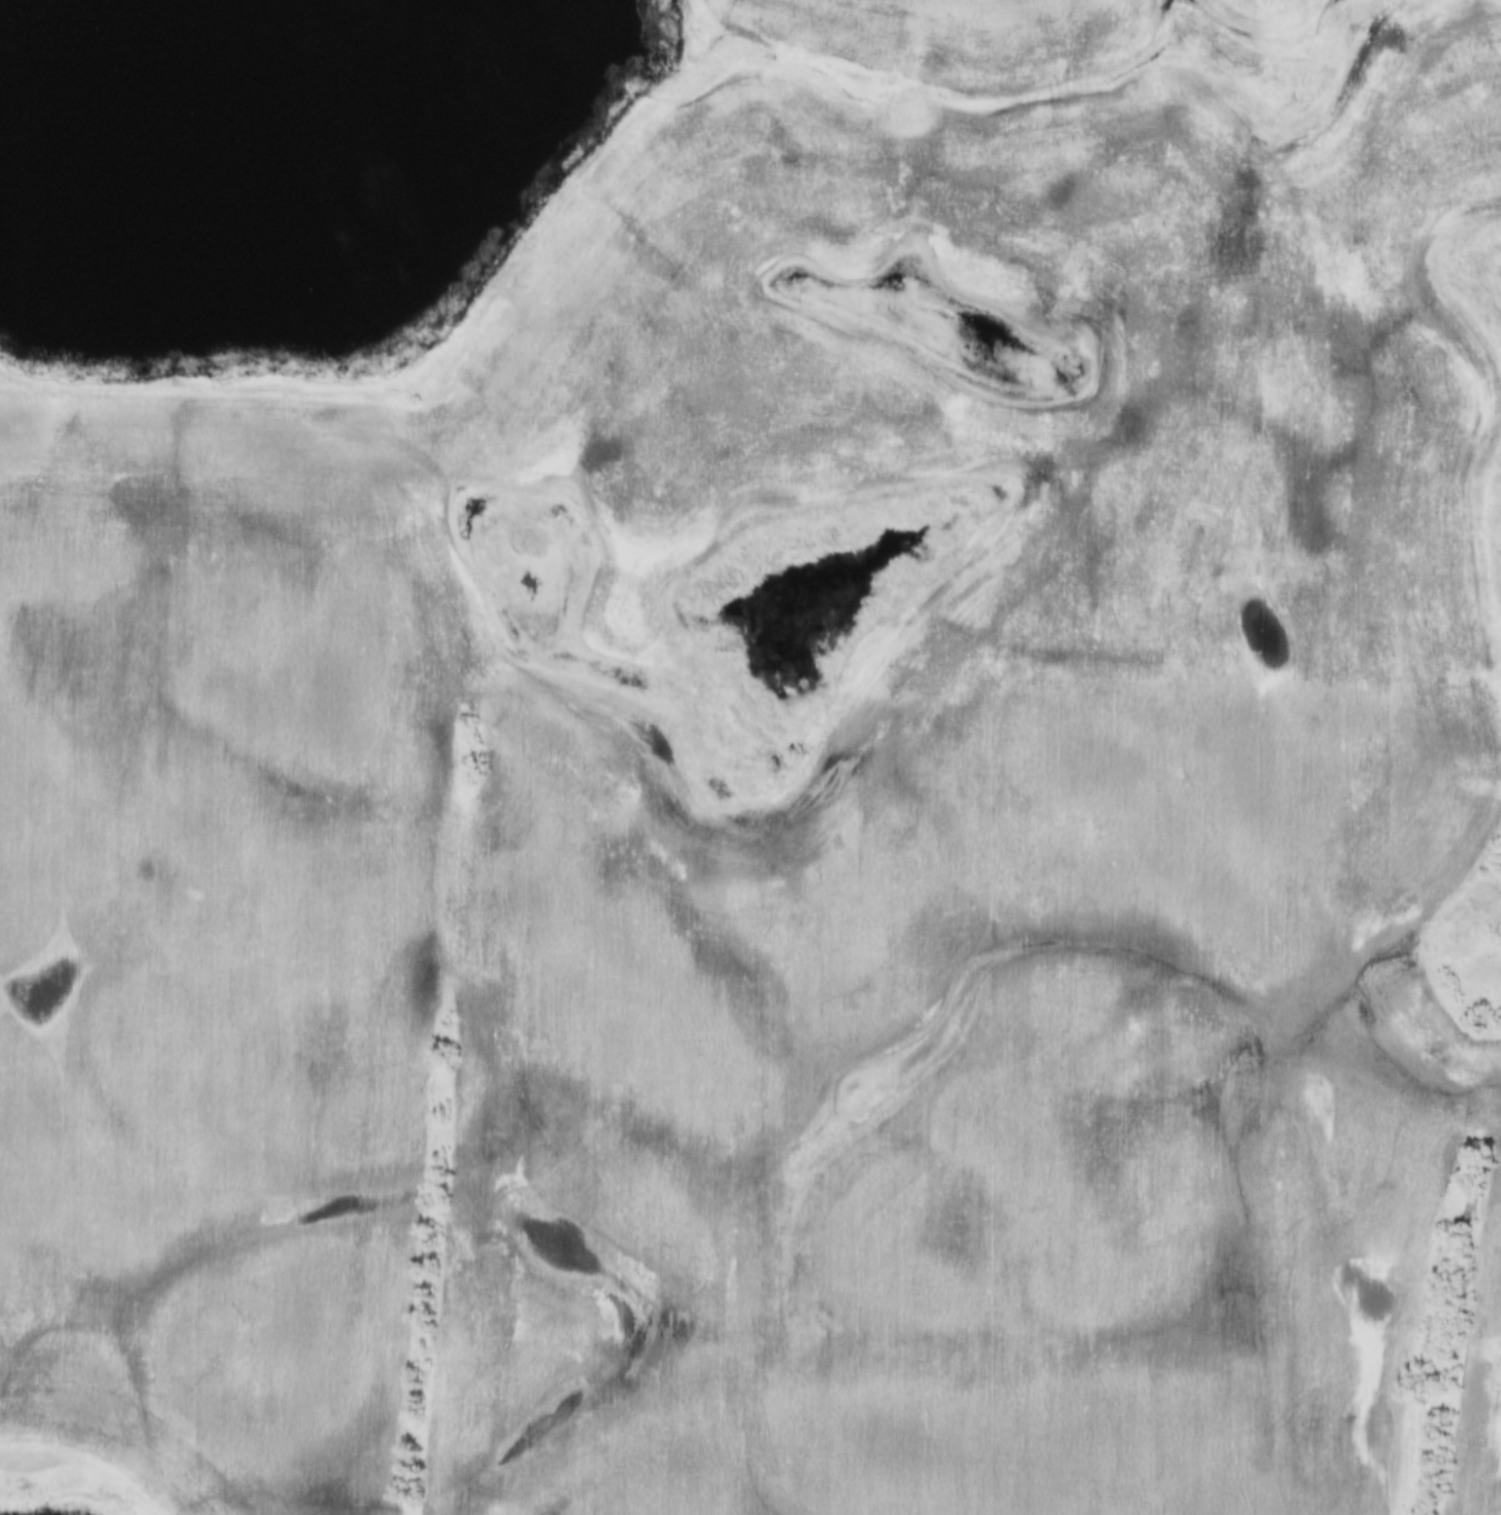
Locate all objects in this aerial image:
road: (104, 1457)

